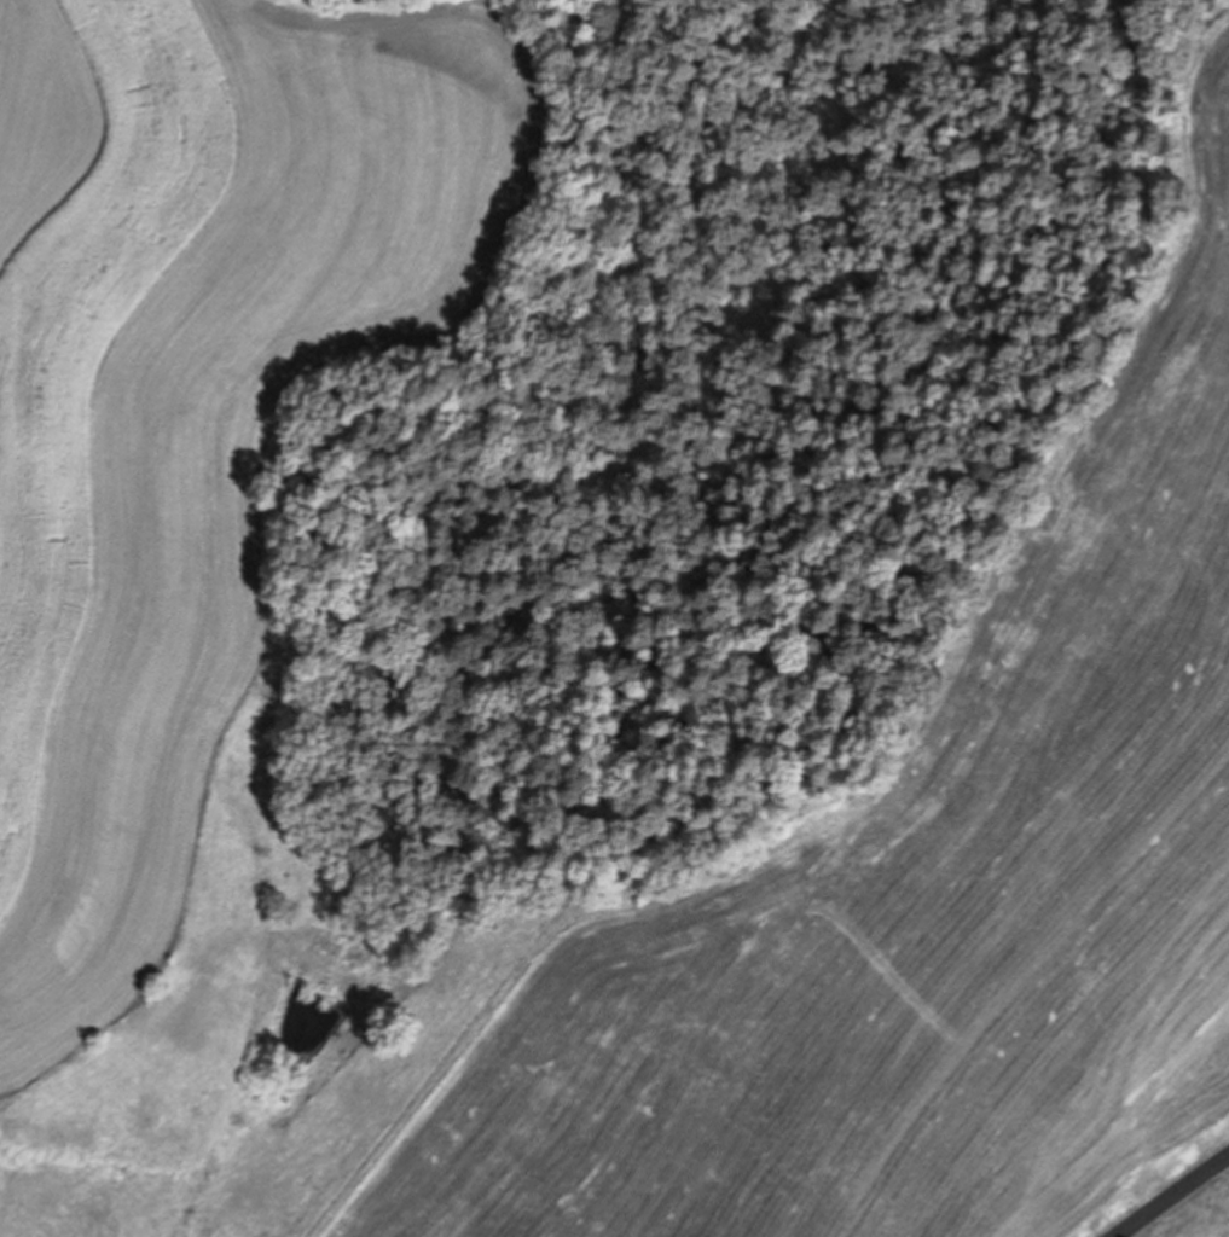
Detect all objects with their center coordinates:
road: (1173, 1197)

